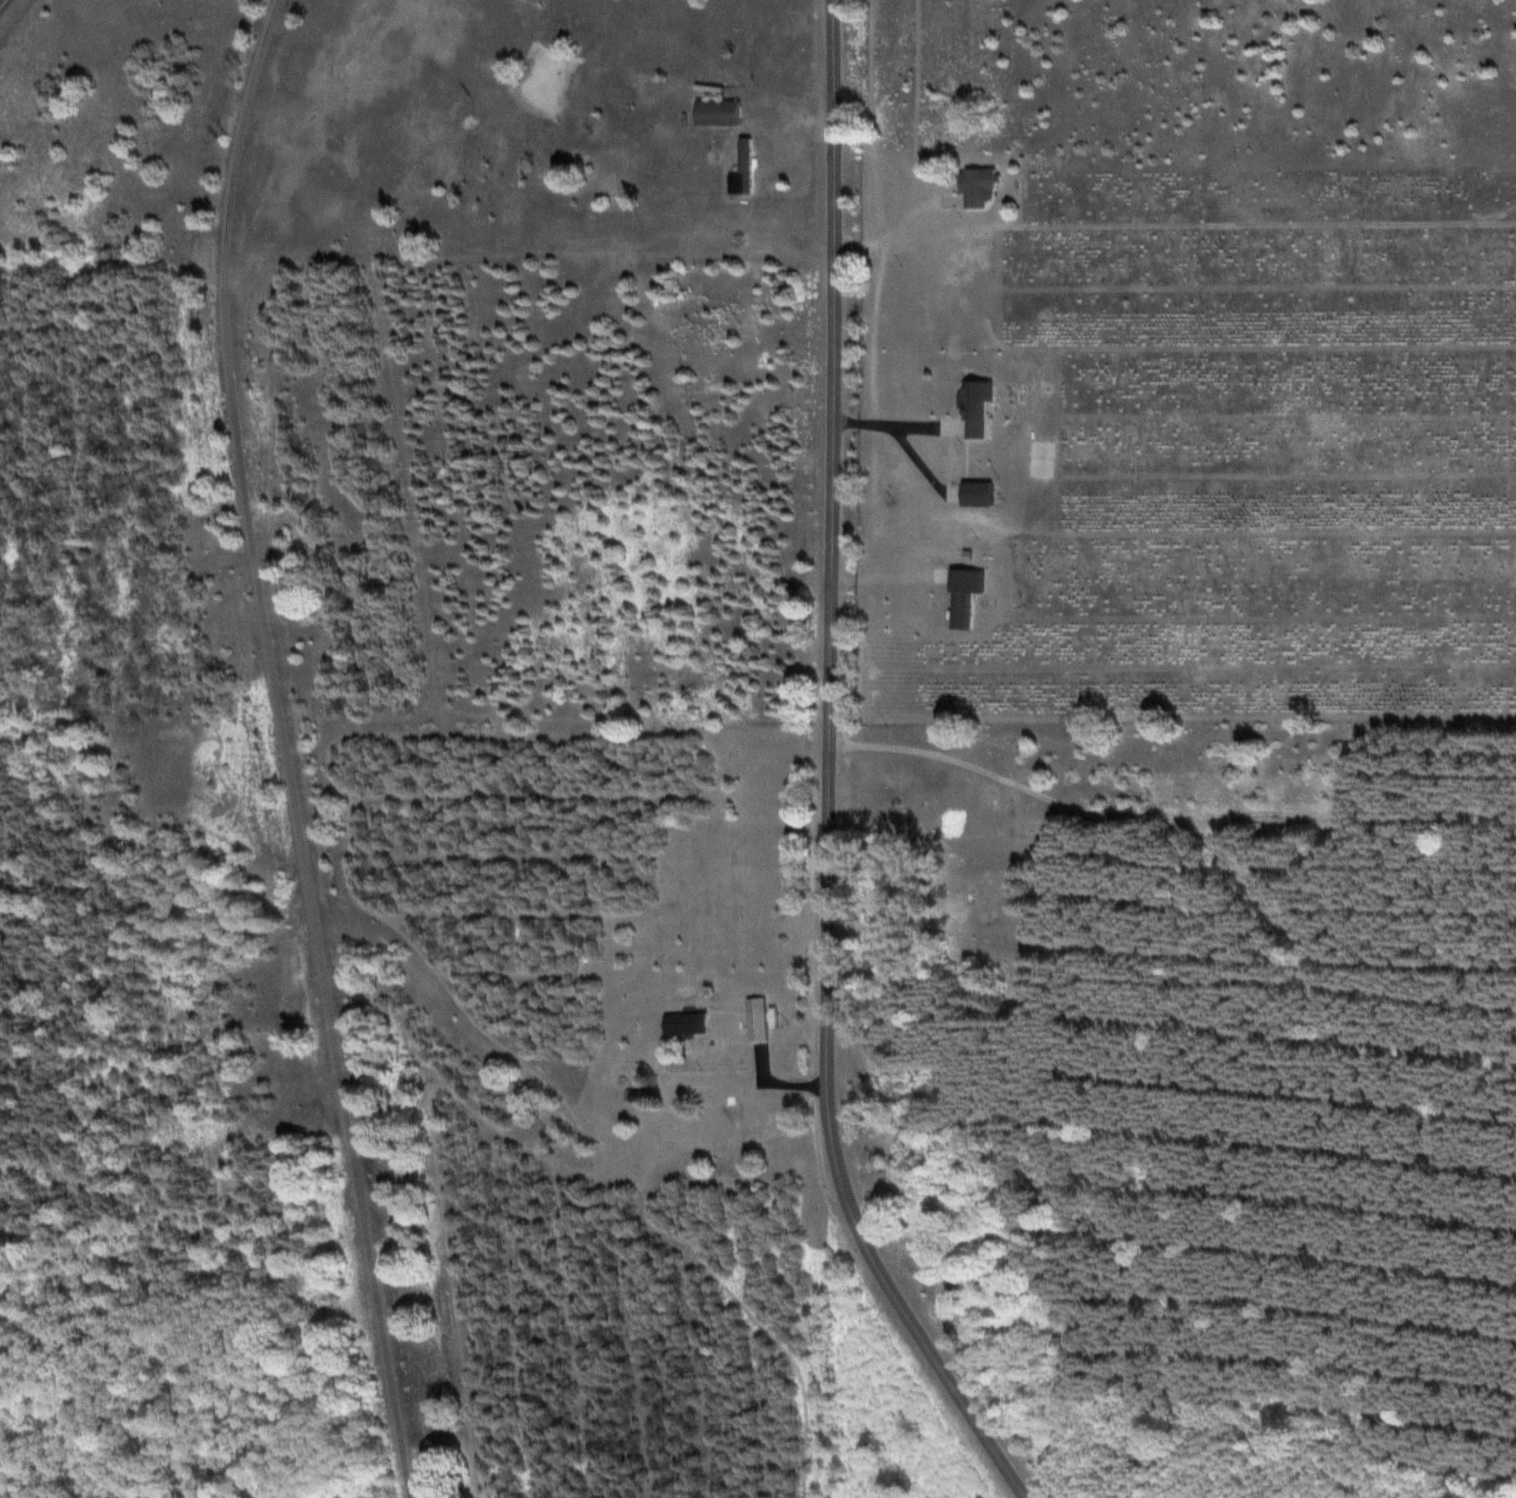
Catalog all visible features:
building: (713, 113)
building: (739, 170)
building: (971, 186)
building: (967, 411)
building: (973, 494)
building: (957, 595)
road: (280, 748)
road: (826, 775)
building: (753, 1020)
building: (681, 1025)

